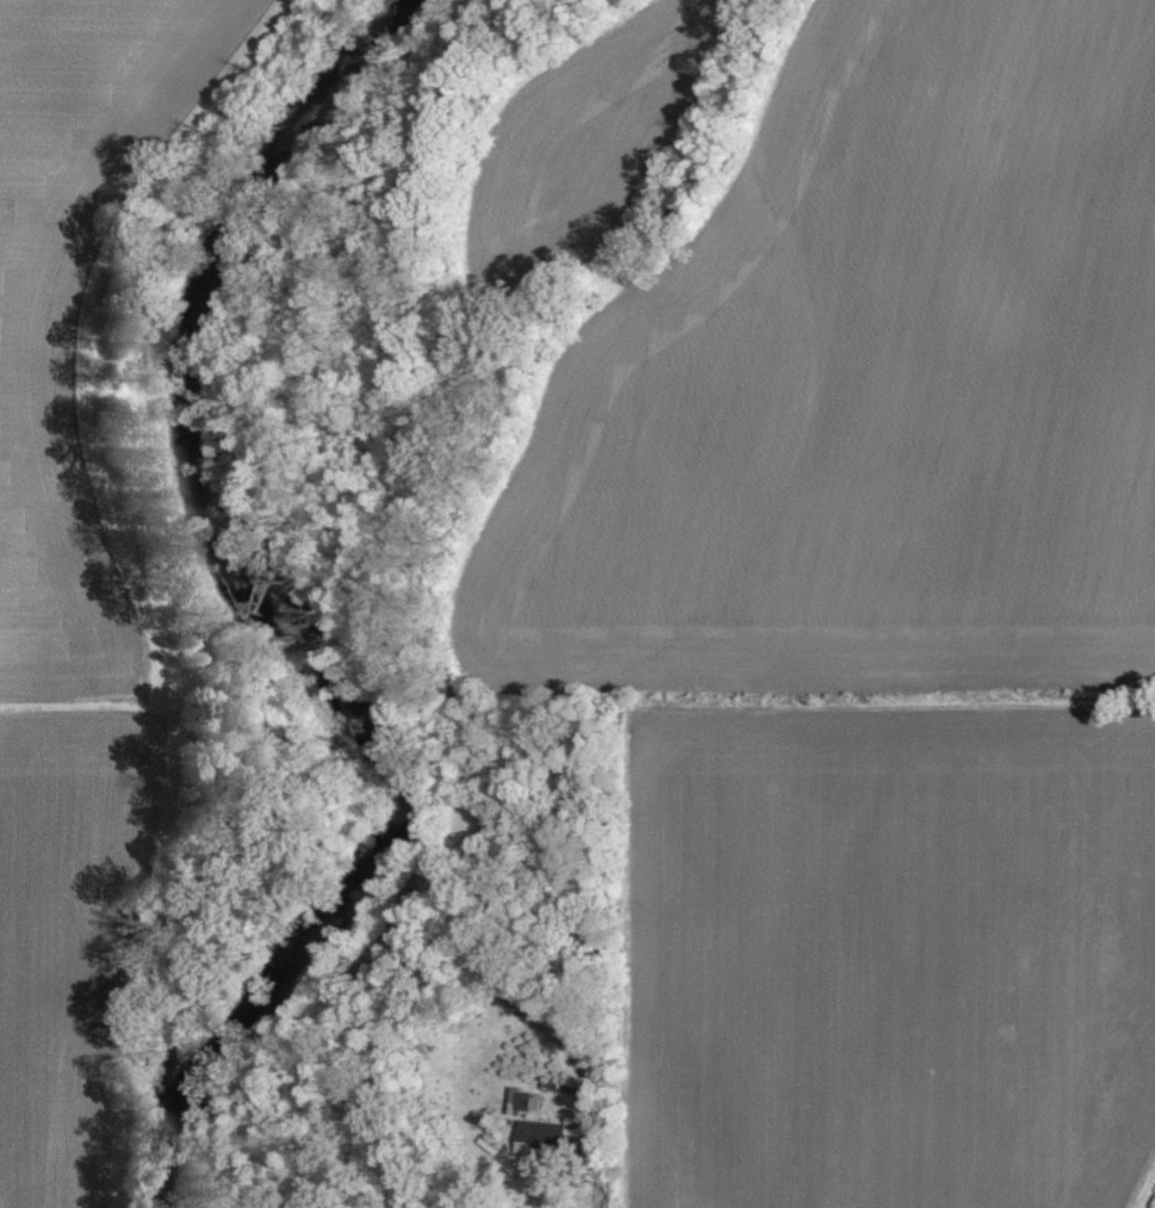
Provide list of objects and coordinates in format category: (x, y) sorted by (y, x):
building: (520, 1101)
building: (540, 1136)
road: (598, 1183)

